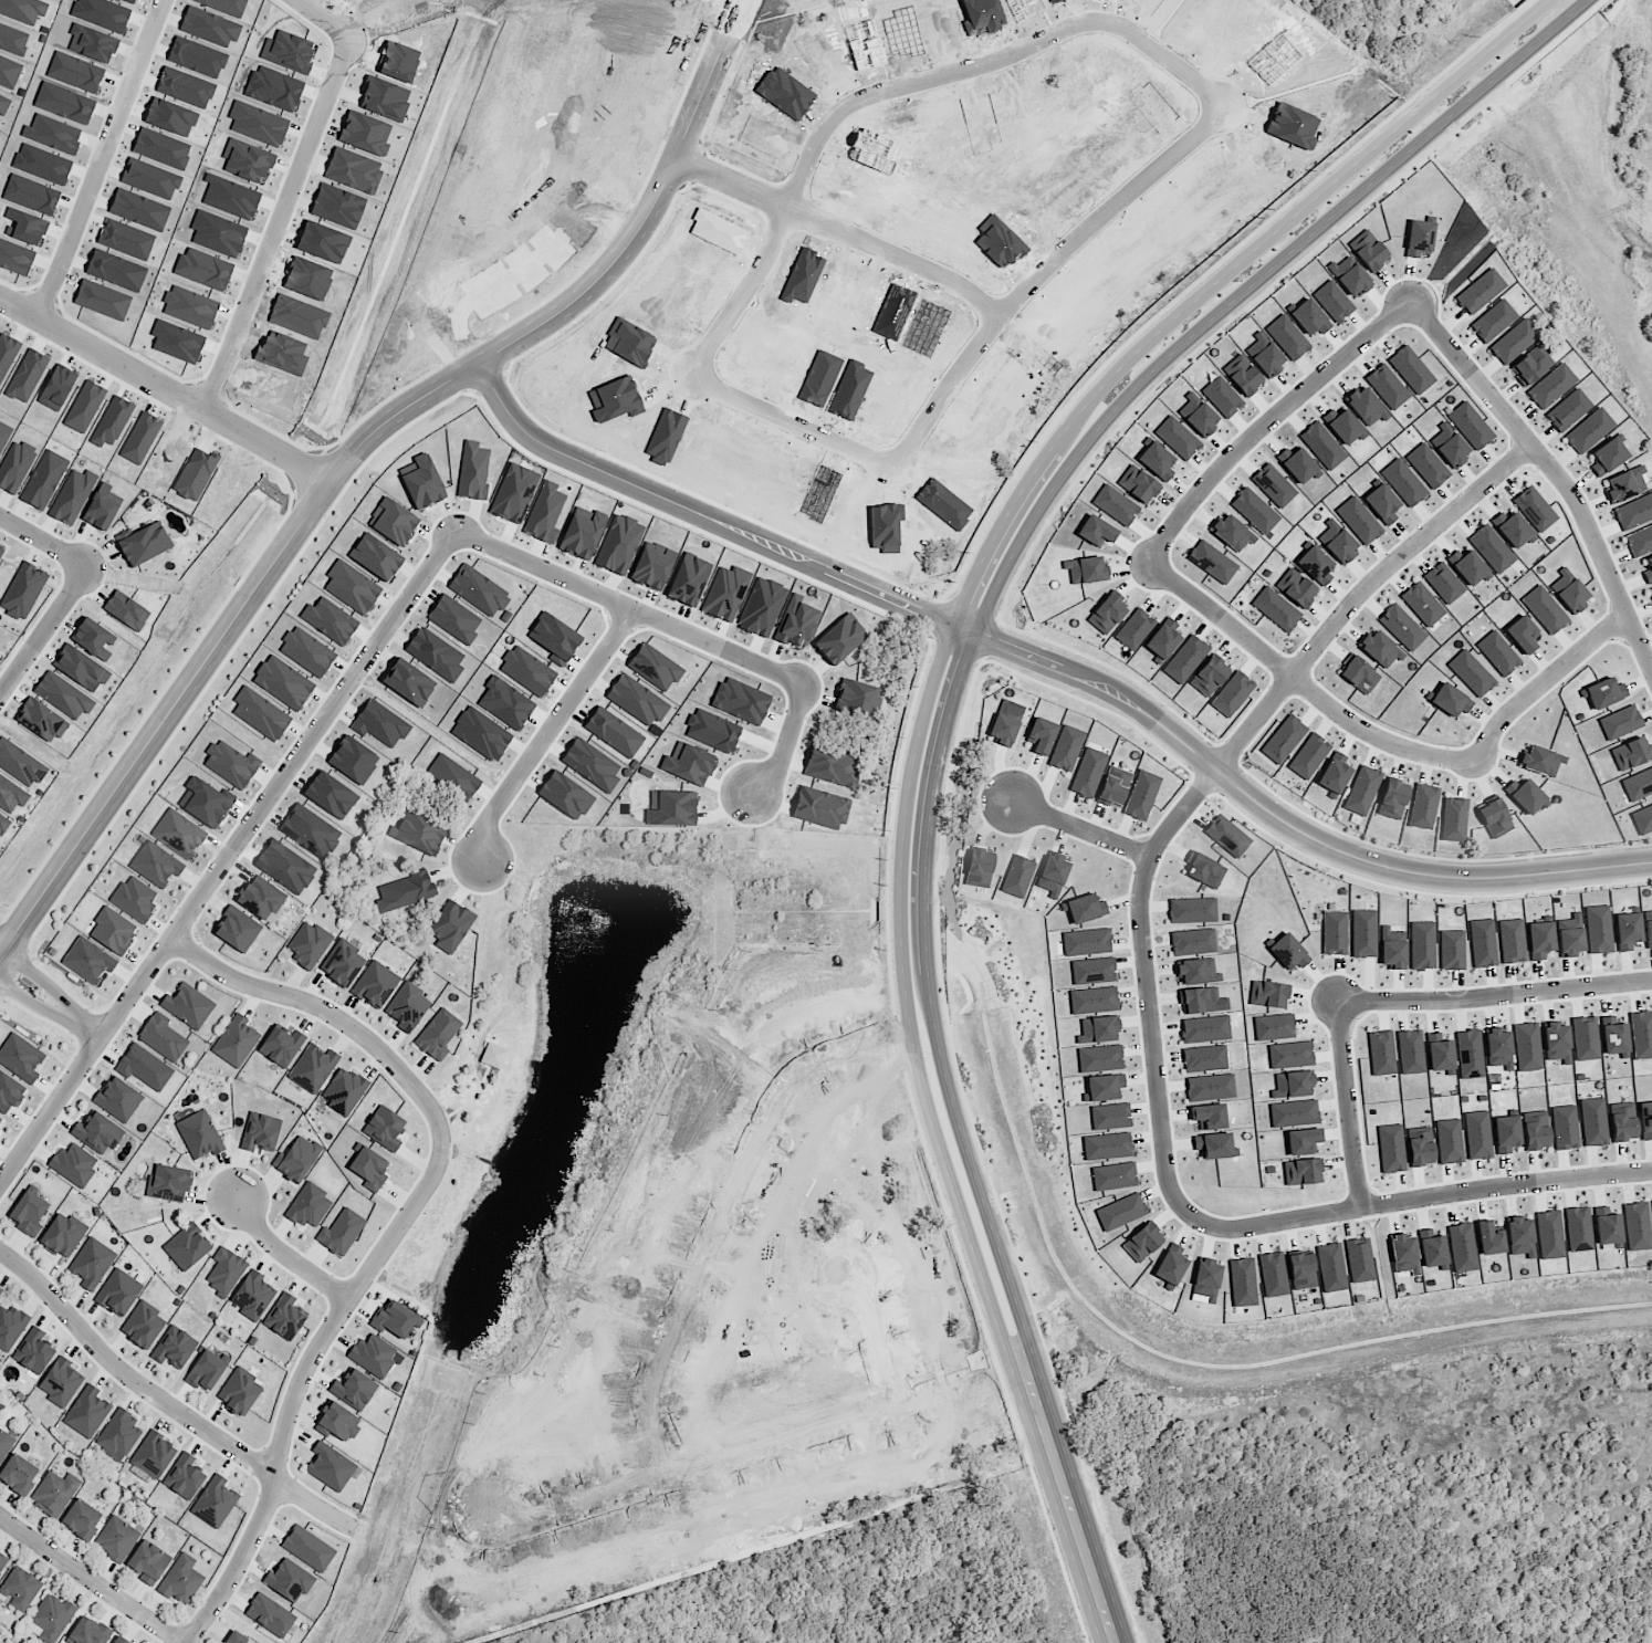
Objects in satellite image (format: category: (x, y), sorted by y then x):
building: (22, 10)
road: (316, 22)
building: (9, 73)
road: (920, 96)
building: (3, 105)
road: (107, 160)
road: (284, 231)
road: (850, 236)
building: (1419, 239)
building: (1372, 255)
road: (616, 276)
road: (1057, 276)
building: (1350, 276)
building: (1480, 292)
building: (1493, 321)
building: (1513, 343)
building: (1530, 366)
building: (1551, 387)
road: (166, 389)
building: (1568, 410)
road: (1266, 420)
building: (1470, 426)
road: (803, 430)
building: (1588, 431)
building: (4, 435)
building: (1451, 447)
building: (1607, 457)
building: (14, 465)
building: (1428, 465)
road: (1552, 468)
building: (473, 471)
building: (195, 474)
building: (43, 480)
building: (422, 482)
building: (1403, 483)
building: (1625, 485)
building: (514, 493)
building: (71, 496)
building: (1381, 504)
building: (102, 507)
building: (1534, 509)
building: (545, 513)
building: (1633, 513)
road: (712, 521)
building: (1358, 521)
building: (394, 522)
building: (1512, 529)
building: (1096, 532)
building: (582, 534)
road: (43, 540)
building: (1639, 541)
building: (1337, 542)
building: (145, 545)
building: (618, 545)
building: (0, 550)
building: (1492, 550)
building: (375, 557)
building: (1315, 565)
building: (652, 566)
building: (1466, 566)
building: (1086, 571)
building: (1648, 571)
building: (689, 580)
building: (1443, 583)
building: (352, 587)
building: (1296, 588)
building: (478, 590)
building: (1650, 590)
building: (23, 592)
building: (1569, 592)
building: (725, 594)
building: (1422, 605)
building: (1276, 609)
building: (1545, 610)
building: (126, 611)
building: (1106, 615)
building: (453, 619)
building: (330, 620)
road: (678, 626)
building: (1401, 628)
building: (1133, 629)
road: (43, 630)
building: (1522, 634)
building: (554, 638)
building: (92, 639)
building: (1162, 639)
building: (1380, 649)
building: (306, 651)
building: (431, 652)
building: (1497, 653)
building: (1185, 660)
building: (655, 667)
building: (80, 669)
building: (526, 671)
building: (1471, 673)
building: (1359, 676)
building: (1209, 677)
road: (1547, 679)
road: (1303, 680)
building: (408, 681)
building: (282, 682)
building: (1603, 692)
building: (1232, 694)
building: (63, 695)
road: (178, 700)
building: (636, 701)
building: (1450, 701)
building: (504, 703)
road: (965, 708)
road: (940, 711)
building: (259, 713)
building: (41, 721)
building: (1620, 723)
building: (379, 724)
building: (1004, 724)
road: (547, 729)
building: (613, 732)
building: (1042, 735)
building: (492, 736)
building: (1284, 740)
building: (1066, 749)
building: (1631, 754)
building: (1308, 756)
building: (352, 760)
building: (1540, 761)
building: (230, 765)
building: (590, 765)
building: (22, 767)
building: (1088, 773)
building: (1334, 775)
building: (452, 777)
road: (1206, 779)
building: (1638, 785)
building: (1113, 787)
building: (1362, 791)
building: (330, 795)
building: (1524, 795)
building: (565, 796)
building: (1141, 796)
building: (14, 800)
building: (1392, 800)
building: (206, 802)
building: (1423, 806)
building: (1454, 819)
building: (1495, 819)
building: (1642, 819)
road: (1284, 821)
road: (1080, 825)
building: (4, 826)
building: (309, 831)
building: (417, 833)
building: (178, 834)
building: (1226, 836)
road: (227, 857)
building: (160, 867)
building: (284, 867)
building: (979, 869)
building: (1205, 871)
building: (1053, 875)
building: (1017, 877)
building: (404, 892)
building: (265, 902)
building: (138, 903)
building: (1085, 909)
building: (1192, 911)
building: (450, 927)
building: (1648, 928)
building: (1598, 930)
building: (113, 931)
building: (240, 931)
building: (1627, 931)
building: (1334, 933)
building: (1363, 934)
building: (1570, 935)
building: (1539, 940)
building: (1512, 941)
building: (1086, 942)
building: (1192, 942)
building: (1482, 943)
building: (307, 944)
building: (1421, 945)
road: (1, 948)
building: (1391, 949)
building: (1451, 951)
building: (1287, 953)
building: (87, 961)
building: (342, 963)
building: (1092, 971)
building: (1196, 972)
road: (44, 979)
building: (375, 984)
building: (1268, 995)
road: (1492, 996)
building: (1092, 1001)
building: (1199, 1001)
road: (36, 1002)
building: (188, 1002)
building: (407, 1007)
road: (90, 1027)
building: (1273, 1027)
building: (1204, 1029)
building: (1098, 1030)
building: (438, 1035)
building: (1641, 1035)
building: (1613, 1036)
building: (164, 1037)
building: (1585, 1038)
building: (236, 1042)
building: (1557, 1043)
building: (281, 1046)
building: (1527, 1047)
building: (1498, 1048)
building: (1381, 1053)
building: (1410, 1053)
building: (1440, 1054)
building: (1470, 1054)
building: (1290, 1055)
building: (492, 1056)
building: (20, 1058)
building: (1099, 1058)
building: (1204, 1059)
building: (313, 1068)
building: (1293, 1085)
building: (1210, 1087)
building: (1104, 1088)
building: (344, 1091)
building: (9, 1092)
road: (1345, 1101)
building: (122, 1105)
building: (1294, 1113)
building: (1110, 1117)
building: (1209, 1117)
building: (0, 1120)
building: (1645, 1120)
building: (1593, 1122)
building: (1622, 1122)
building: (384, 1128)
building: (1565, 1128)
building: (1535, 1130)
building: (260, 1132)
building: (1506, 1134)
building: (199, 1136)
building: (1477, 1136)
building: (98, 1138)
building: (1303, 1141)
building: (1449, 1141)
building: (1214, 1145)
building: (1106, 1147)
building: (1420, 1147)
building: (1391, 1149)
building: (297, 1159)
building: (79, 1166)
building: (368, 1169)
building: (1301, 1172)
building: (1113, 1176)
building: (168, 1183)
road: (1421, 1195)
building: (309, 1206)
road: (726, 1211)
building: (1120, 1212)
building: (32, 1220)
building: (1637, 1226)
building: (1607, 1227)
building: (1578, 1229)
building: (341, 1232)
road: (394, 1234)
building: (1549, 1235)
building: (1520, 1237)
building: (66, 1238)
building: (1489, 1239)
building: (1142, 1243)
building: (186, 1247)
building: (1462, 1247)
building: (1432, 1248)
road: (283, 1252)
building: (1404, 1254)
building: (1359, 1260)
building: (1171, 1265)
building: (94, 1267)
building: (1330, 1267)
building: (1300, 1270)
building: (224, 1272)
building: (1273, 1275)
building: (1206, 1279)
building: (1242, 1283)
building: (0, 1293)
building: (252, 1296)
building: (122, 1297)
building: (285, 1318)
building: (395, 1320)
building: (9, 1323)
road: (875, 1329)
building: (146, 1330)
building: (178, 1350)
building: (33, 1352)
building: (374, 1356)
building: (212, 1374)
building: (60, 1382)
building: (353, 1389)
building: (243, 1394)
road: (166, 1402)
building: (85, 1406)
building: (336, 1422)
building: (122, 1430)
building: (6, 1445)
building: (153, 1455)
road: (688, 1466)
building: (330, 1467)
building: (22, 1475)
building: (184, 1477)
building: (57, 1494)
building: (215, 1503)
building: (85, 1520)
building: (119, 1538)
building: (307, 1549)
building: (3, 1562)
building: (150, 1563)
road: (91, 1580)
building: (185, 1580)
building: (289, 1580)
building: (20, 1589)
building: (270, 1615)
building: (54, 1616)
building: (90, 1632)
building: (237, 1639)
building: (119, 1641)
building: (126, 1641)

